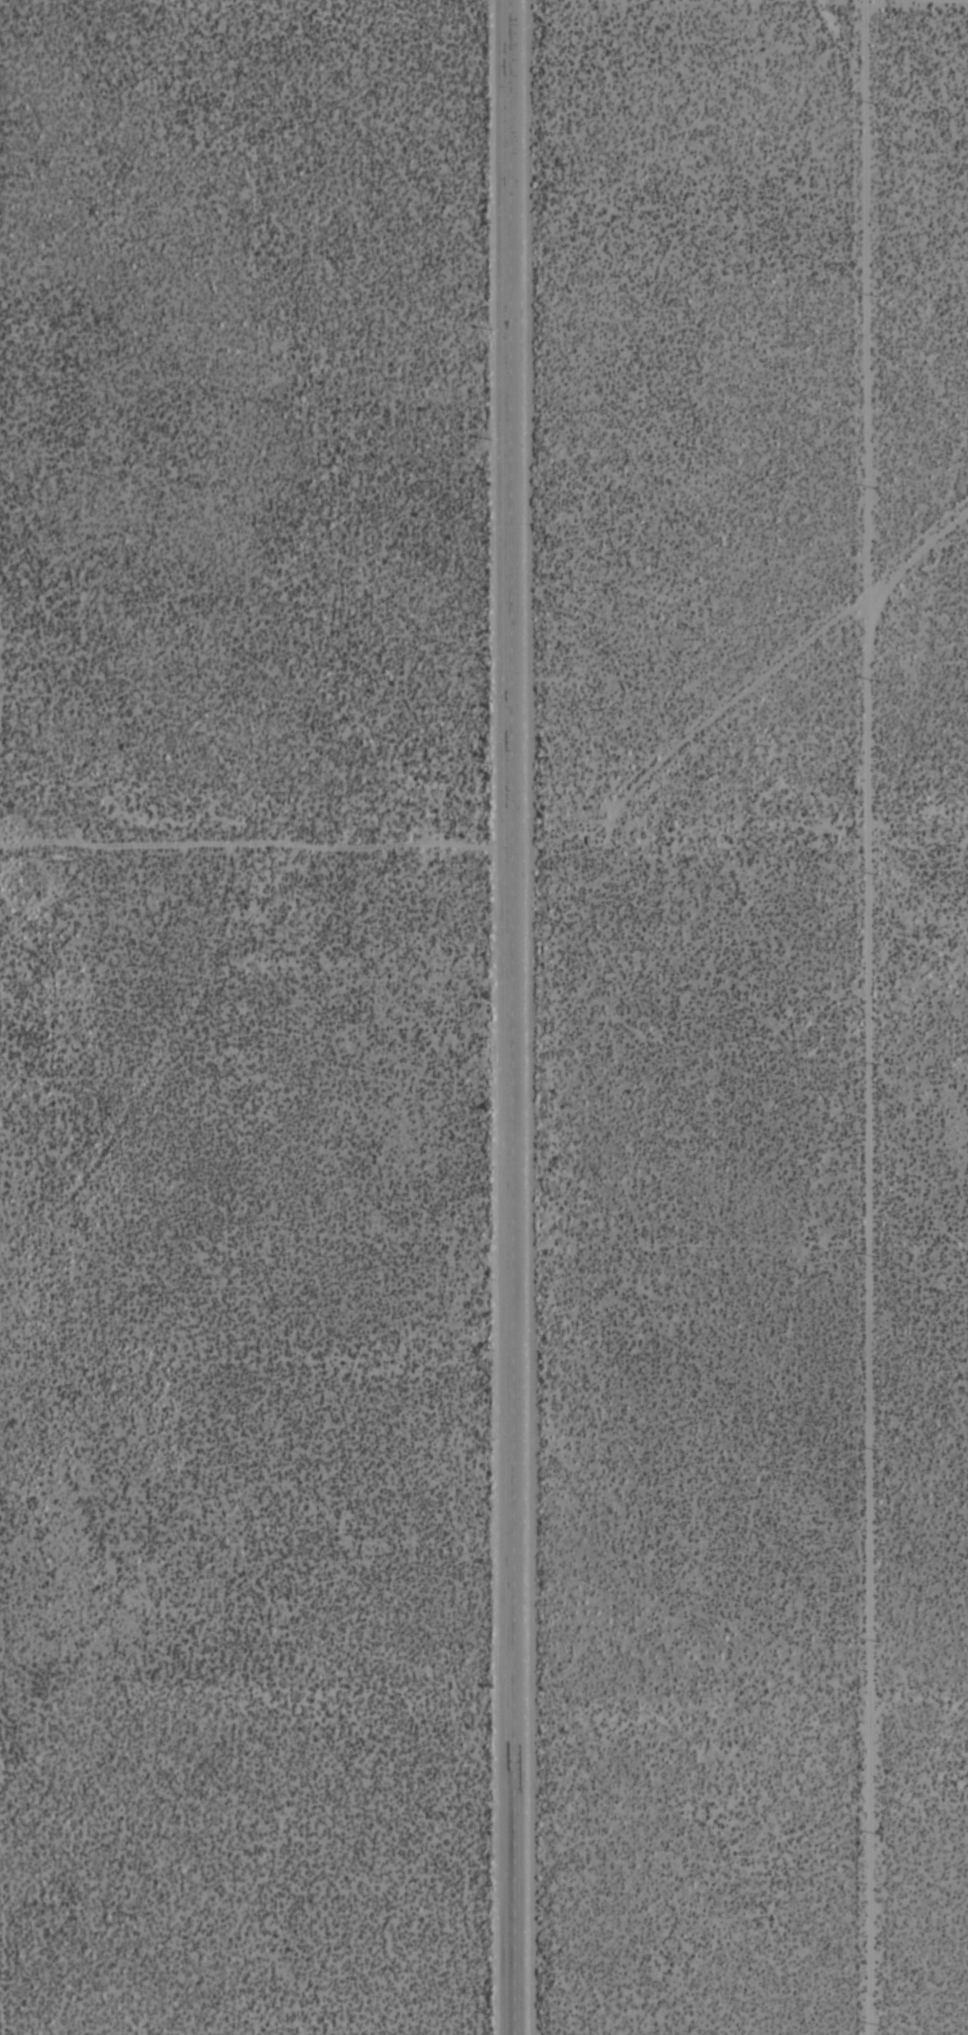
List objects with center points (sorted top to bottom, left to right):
road: (517, 1017)
road: (873, 1017)

